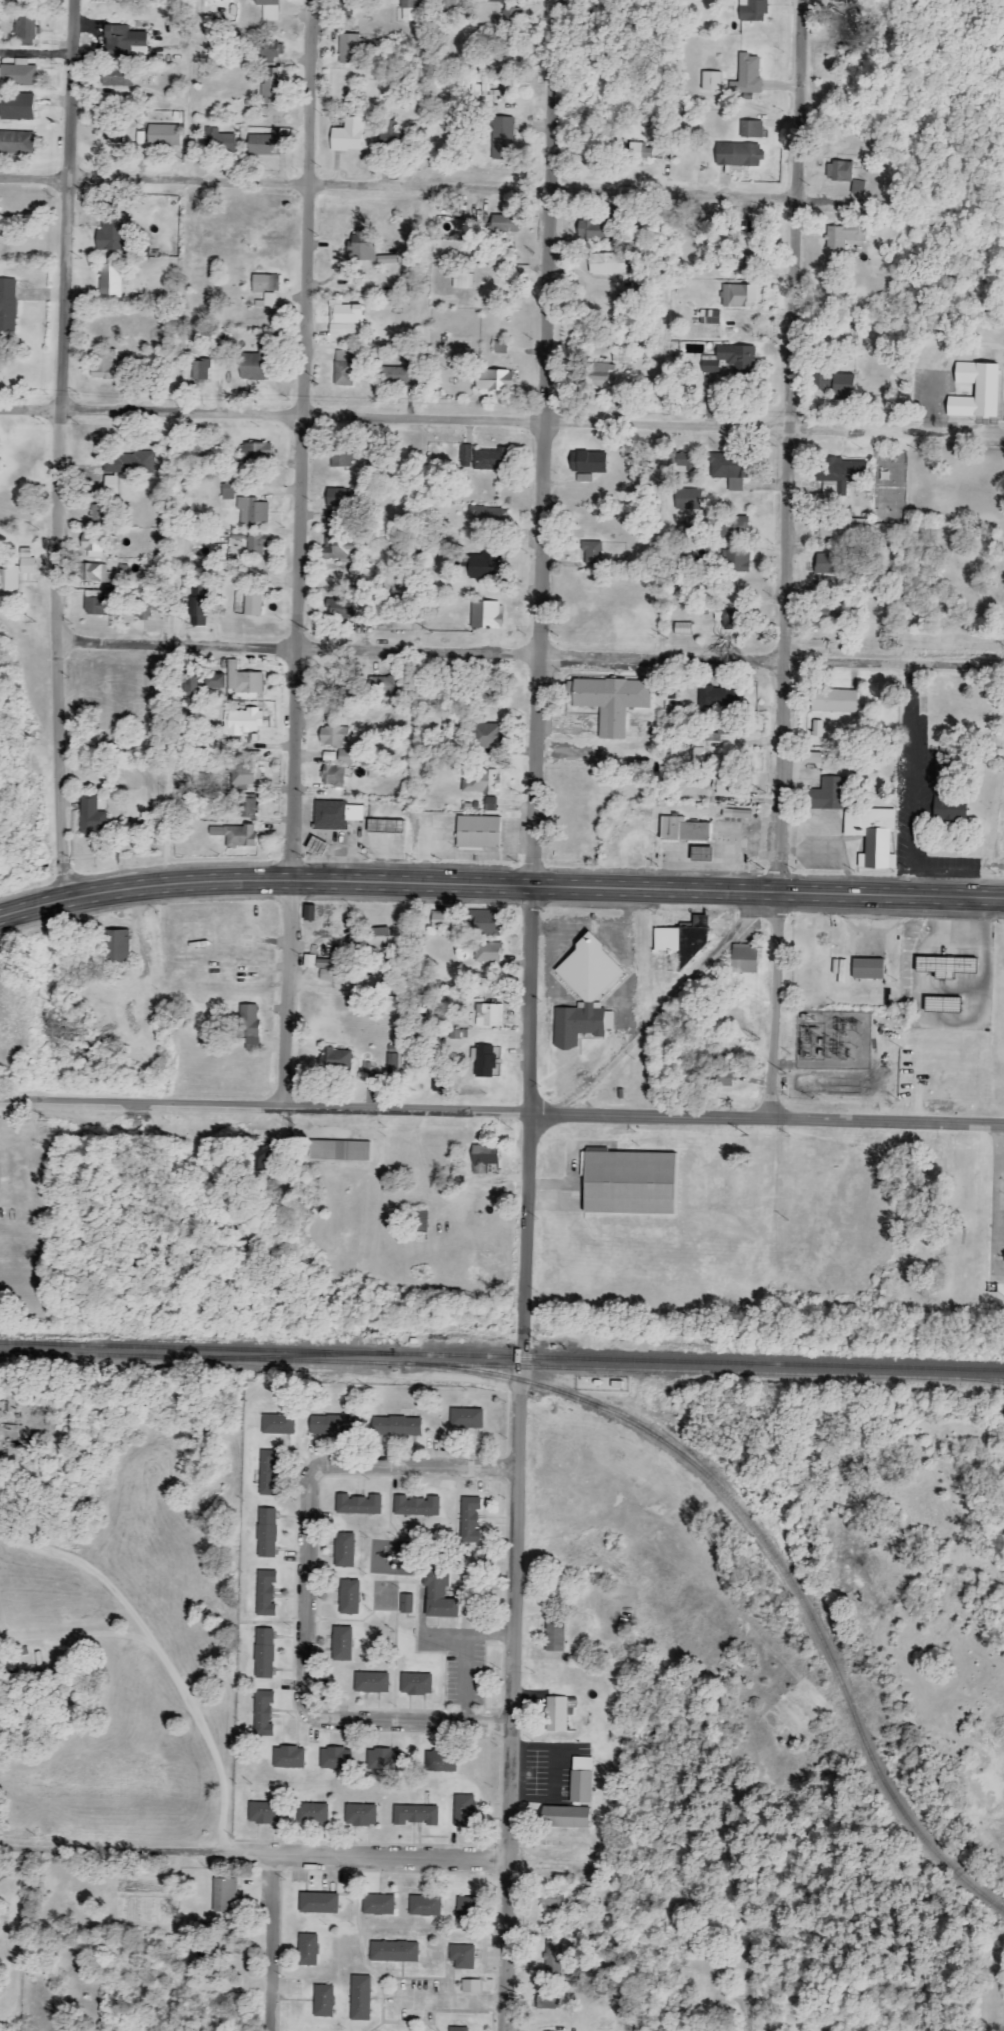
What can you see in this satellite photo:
building: (114, 0)
building: (212, 0)
building: (493, 1)
building: (449, 5)
building: (268, 9)
building: (410, 10)
building: (752, 10)
building: (470, 13)
building: (852, 22)
building: (26, 28)
building: (122, 40)
building: (348, 49)
building: (272, 50)
building: (18, 74)
building: (748, 74)
building: (710, 81)
building: (272, 87)
building: (16, 107)
building: (646, 122)
building: (751, 129)
building: (392, 132)
building: (113, 134)
building: (164, 135)
building: (347, 136)
building: (501, 139)
building: (218, 140)
building: (17, 143)
building: (263, 145)
building: (640, 151)
building: (736, 155)
building: (839, 171)
road: (397, 188)
building: (858, 188)
road: (848, 201)
building: (502, 221)
building: (600, 226)
building: (465, 228)
building: (111, 232)
building: (847, 235)
building: (360, 252)
building: (500, 258)
building: (386, 260)
building: (605, 263)
building: (745, 264)
building: (109, 281)
building: (462, 281)
building: (265, 288)
building: (740, 296)
building: (8, 305)
building: (344, 319)
building: (500, 348)
building: (737, 358)
building: (103, 365)
building: (254, 365)
building: (710, 367)
building: (344, 368)
building: (200, 370)
building: (397, 376)
building: (597, 376)
building: (493, 380)
building: (835, 385)
building: (975, 391)
road: (501, 418)
road: (69, 448)
building: (256, 453)
building: (465, 453)
building: (491, 460)
building: (587, 462)
building: (685, 462)
building: (130, 463)
building: (728, 470)
building: (842, 473)
building: (583, 478)
building: (227, 492)
building: (688, 499)
building: (253, 512)
building: (99, 514)
building: (490, 516)
building: (734, 526)
building: (845, 528)
building: (94, 544)
building: (250, 545)
building: (339, 546)
road: (296, 553)
building: (592, 554)
road: (784, 559)
building: (740, 561)
building: (828, 564)
building: (485, 567)
building: (17, 571)
building: (94, 573)
building: (95, 603)
building: (252, 604)
building: (198, 606)
building: (148, 608)
building: (350, 608)
building: (486, 615)
building: (830, 616)
building: (682, 629)
road: (534, 656)
road: (539, 677)
building: (242, 680)
building: (214, 682)
building: (384, 686)
building: (717, 697)
building: (833, 701)
building: (608, 702)
road: (909, 708)
building: (243, 721)
building: (817, 729)
building: (489, 735)
building: (333, 737)
building: (328, 757)
building: (345, 757)
building: (941, 764)
building: (332, 776)
building: (245, 777)
building: (480, 782)
building: (827, 795)
road: (914, 796)
building: (490, 804)
building: (136, 805)
building: (247, 808)
building: (948, 811)
building: (736, 814)
building: (334, 815)
building: (91, 816)
building: (384, 827)
building: (683, 831)
building: (478, 832)
building: (235, 836)
building: (315, 847)
road: (911, 856)
road: (943, 867)
road: (910, 884)
road: (499, 886)
building: (440, 919)
building: (484, 923)
building: (379, 932)
building: (680, 939)
building: (116, 946)
building: (487, 952)
building: (743, 958)
building: (308, 961)
building: (339, 962)
building: (944, 966)
building: (324, 969)
building: (867, 969)
building: (584, 993)
building: (941, 1004)
road: (652, 1006)
building: (489, 1015)
building: (337, 1061)
building: (724, 1078)
building: (438, 1086)
road: (501, 1114)
road: (998, 1148)
building: (338, 1150)
building: (261, 1154)
building: (483, 1157)
building: (627, 1183)
building: (419, 1220)
railway: (198, 1347)
railway: (105, 1355)
railway: (303, 1355)
railway: (700, 1361)
railway: (607, 1369)
building: (465, 1419)
building: (277, 1425)
building: (333, 1425)
building: (396, 1426)
building: (267, 1473)
building: (358, 1505)
building: (416, 1506)
building: (468, 1520)
building: (266, 1533)
building: (343, 1550)
railway: (773, 1551)
building: (264, 1593)
building: (438, 1595)
building: (348, 1597)
road: (307, 1598)
building: (405, 1604)
building: (554, 1637)
building: (341, 1644)
building: (263, 1653)
road: (162, 1655)
building: (371, 1682)
building: (416, 1684)
road: (517, 1693)
building: (263, 1713)
building: (556, 1714)
building: (288, 1758)
building: (335, 1759)
building: (382, 1760)
building: (440, 1762)
building: (580, 1780)
building: (464, 1811)
building: (263, 1813)
building: (312, 1814)
building: (360, 1815)
building: (415, 1815)
building: (564, 1817)
road: (255, 1855)
building: (224, 1894)
building: (551, 1901)
building: (579, 1902)
building: (317, 1903)
building: (378, 1905)
building: (424, 1906)
building: (465, 1908)
road: (25, 1940)
road: (273, 1943)
building: (307, 1950)
building: (393, 1951)
building: (461, 1956)
building: (553, 1960)
building: (470, 1986)
building: (360, 1998)
building: (323, 2001)
road: (469, 2001)
road: (753, 2001)
building: (547, 2002)
road: (994, 2026)
building: (457, 2029)

